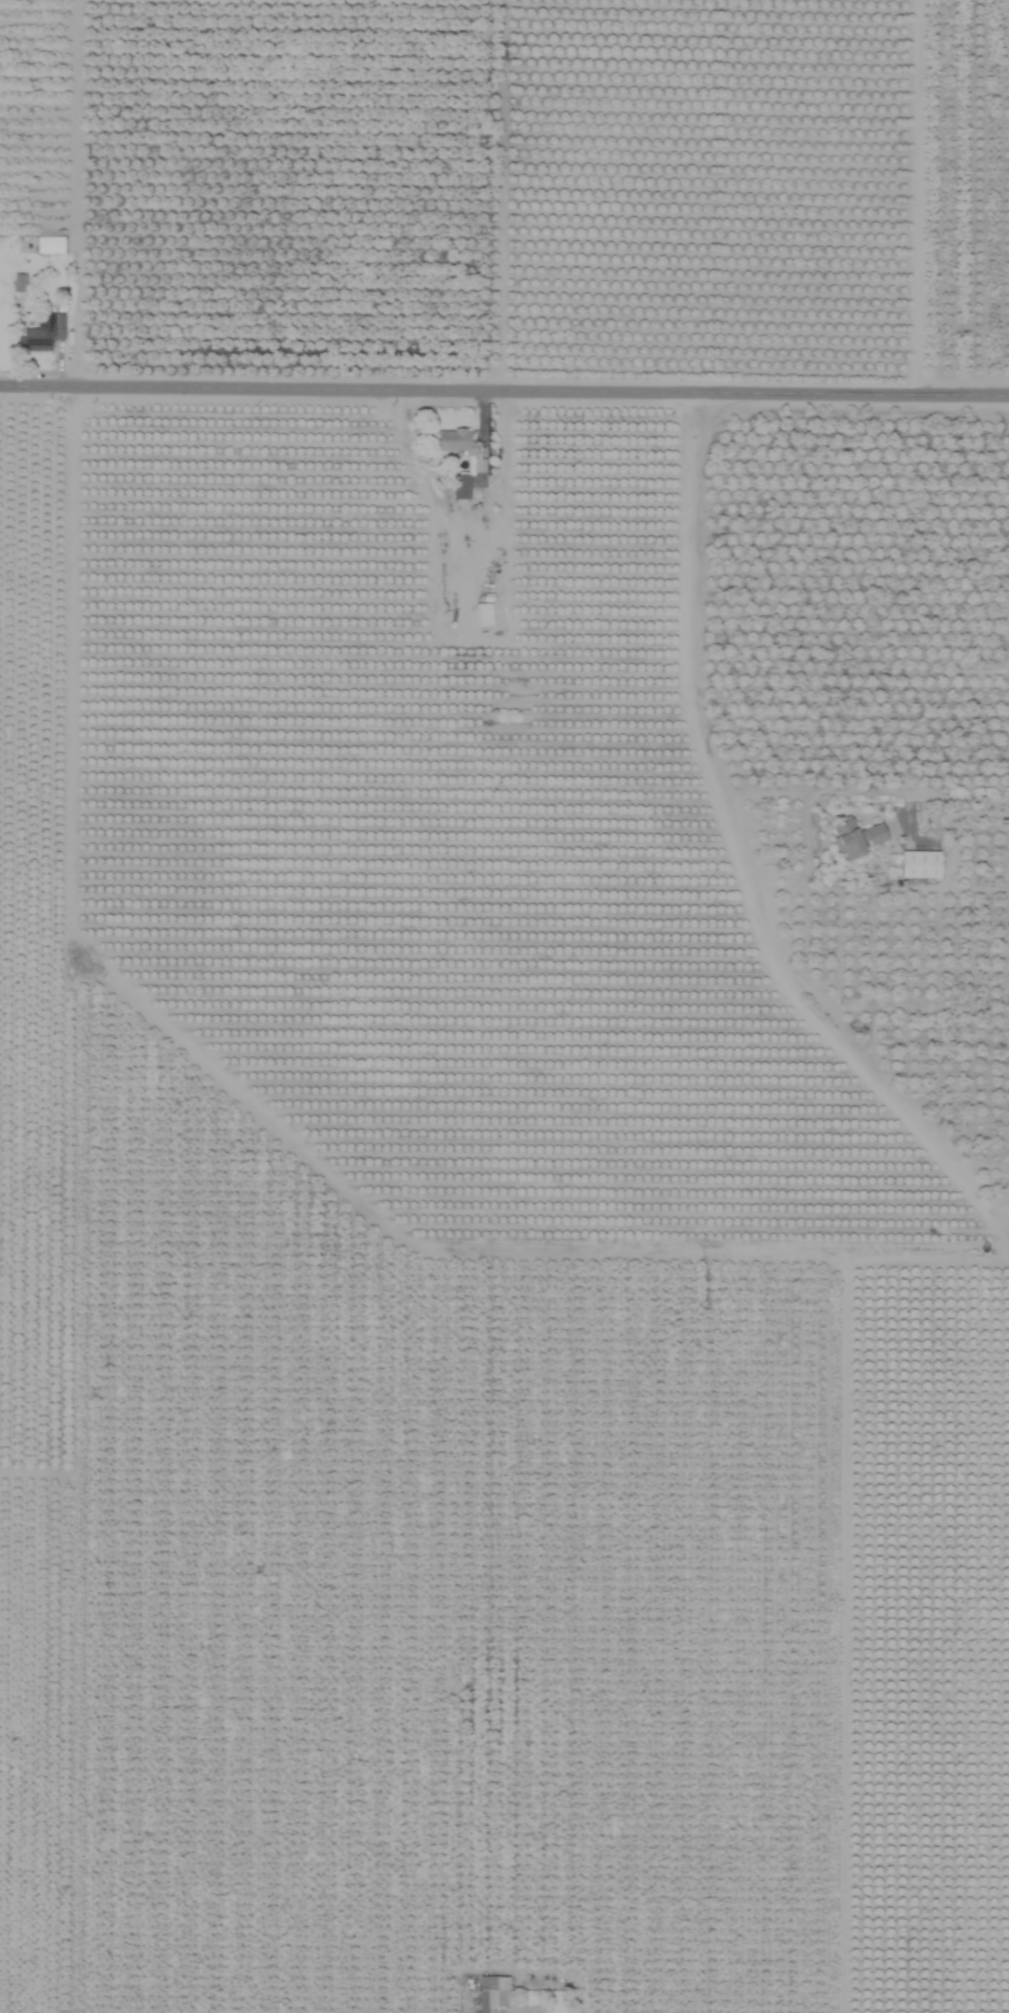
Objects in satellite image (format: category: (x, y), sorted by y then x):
road: (499, 192)
building: (50, 245)
building: (19, 283)
building: (34, 339)
road: (504, 386)
building: (452, 440)
building: (460, 487)
building: (483, 615)
road: (817, 787)
building: (856, 838)
road: (738, 853)
building: (920, 864)
crop: (504, 1006)
building: (492, 1993)

